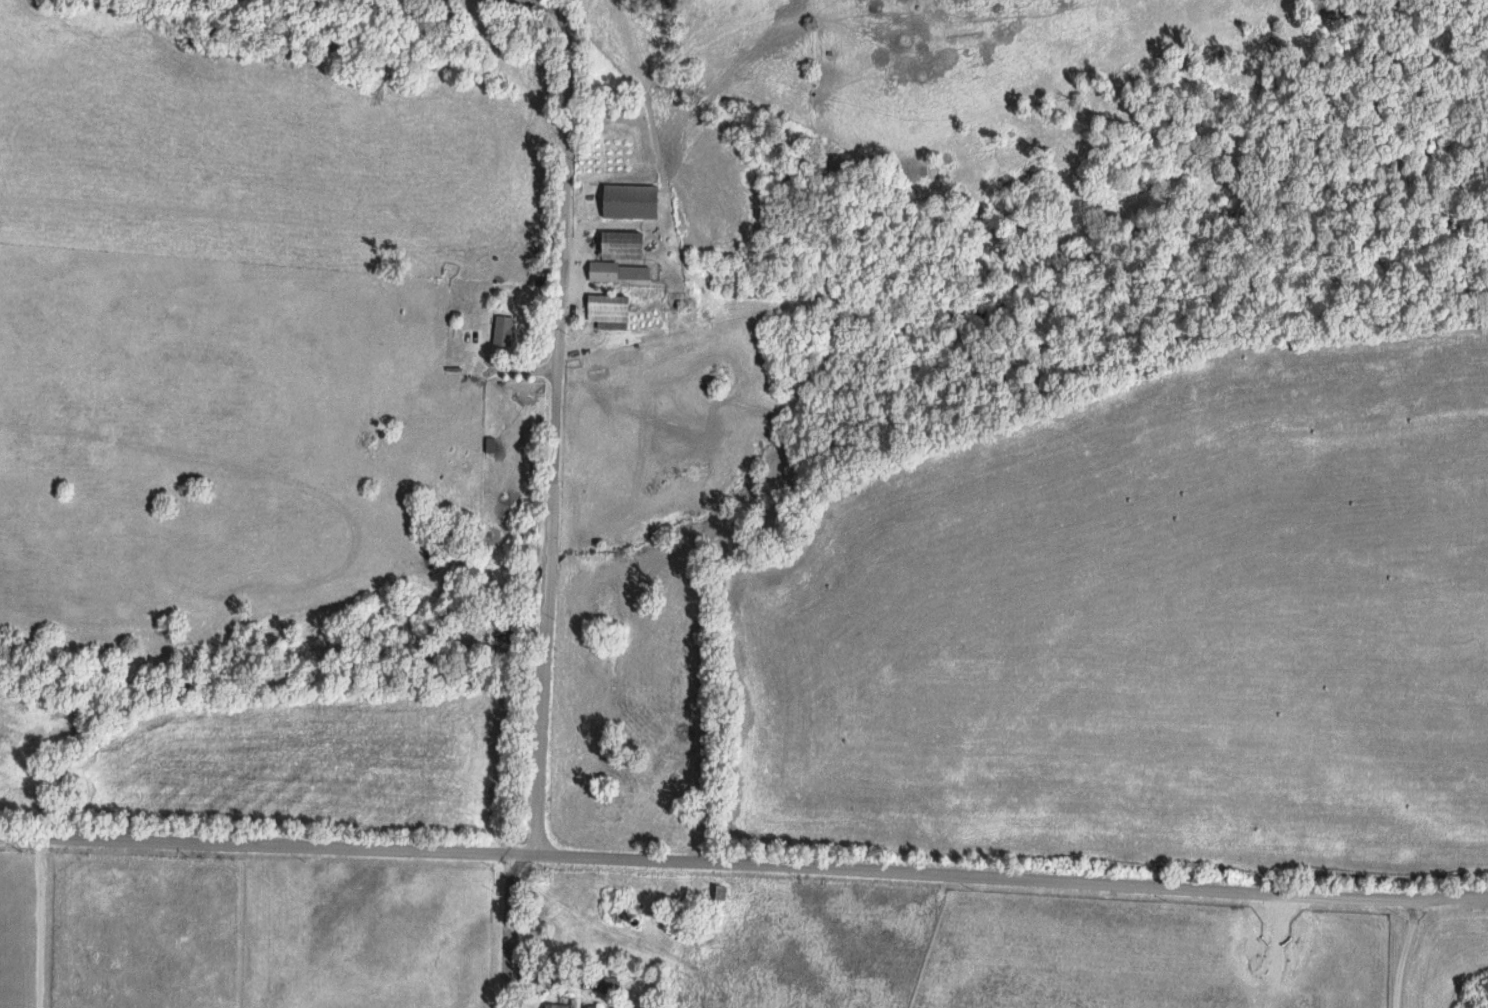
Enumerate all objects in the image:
building: (627, 201)
building: (617, 271)
building: (606, 310)
building: (500, 330)
road: (556, 422)
road: (255, 845)
road: (524, 854)
road: (1013, 871)
road: (43, 922)
road: (507, 931)
road: (1407, 947)
building: (609, 982)
building: (553, 1005)

